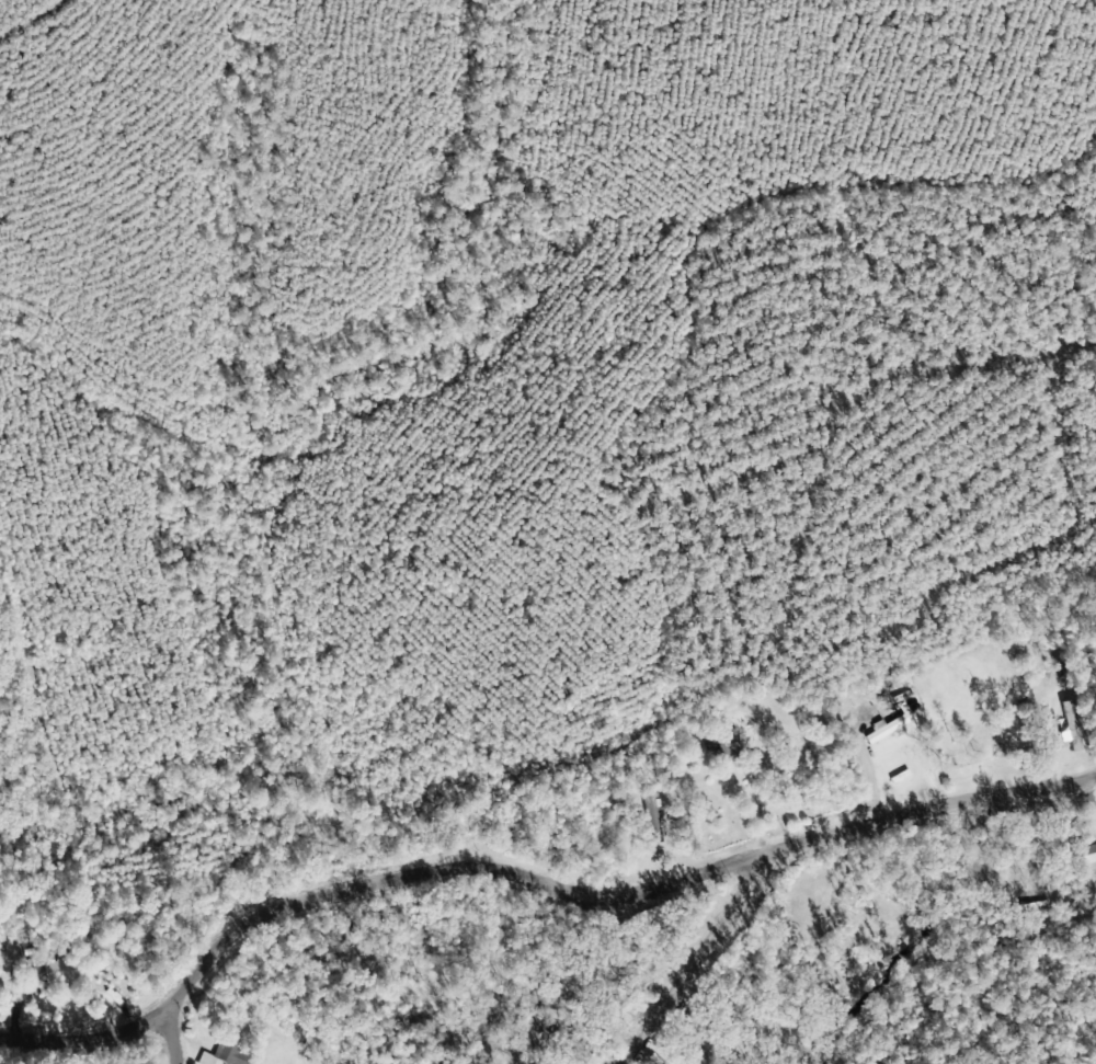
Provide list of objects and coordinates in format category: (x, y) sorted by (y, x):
road: (13, 13)
building: (1074, 727)
building: (890, 730)
building: (731, 746)
building: (655, 816)
building: (1087, 859)
road: (536, 893)
road: (697, 972)
building: (61, 975)
road: (164, 1045)
building: (228, 1055)

